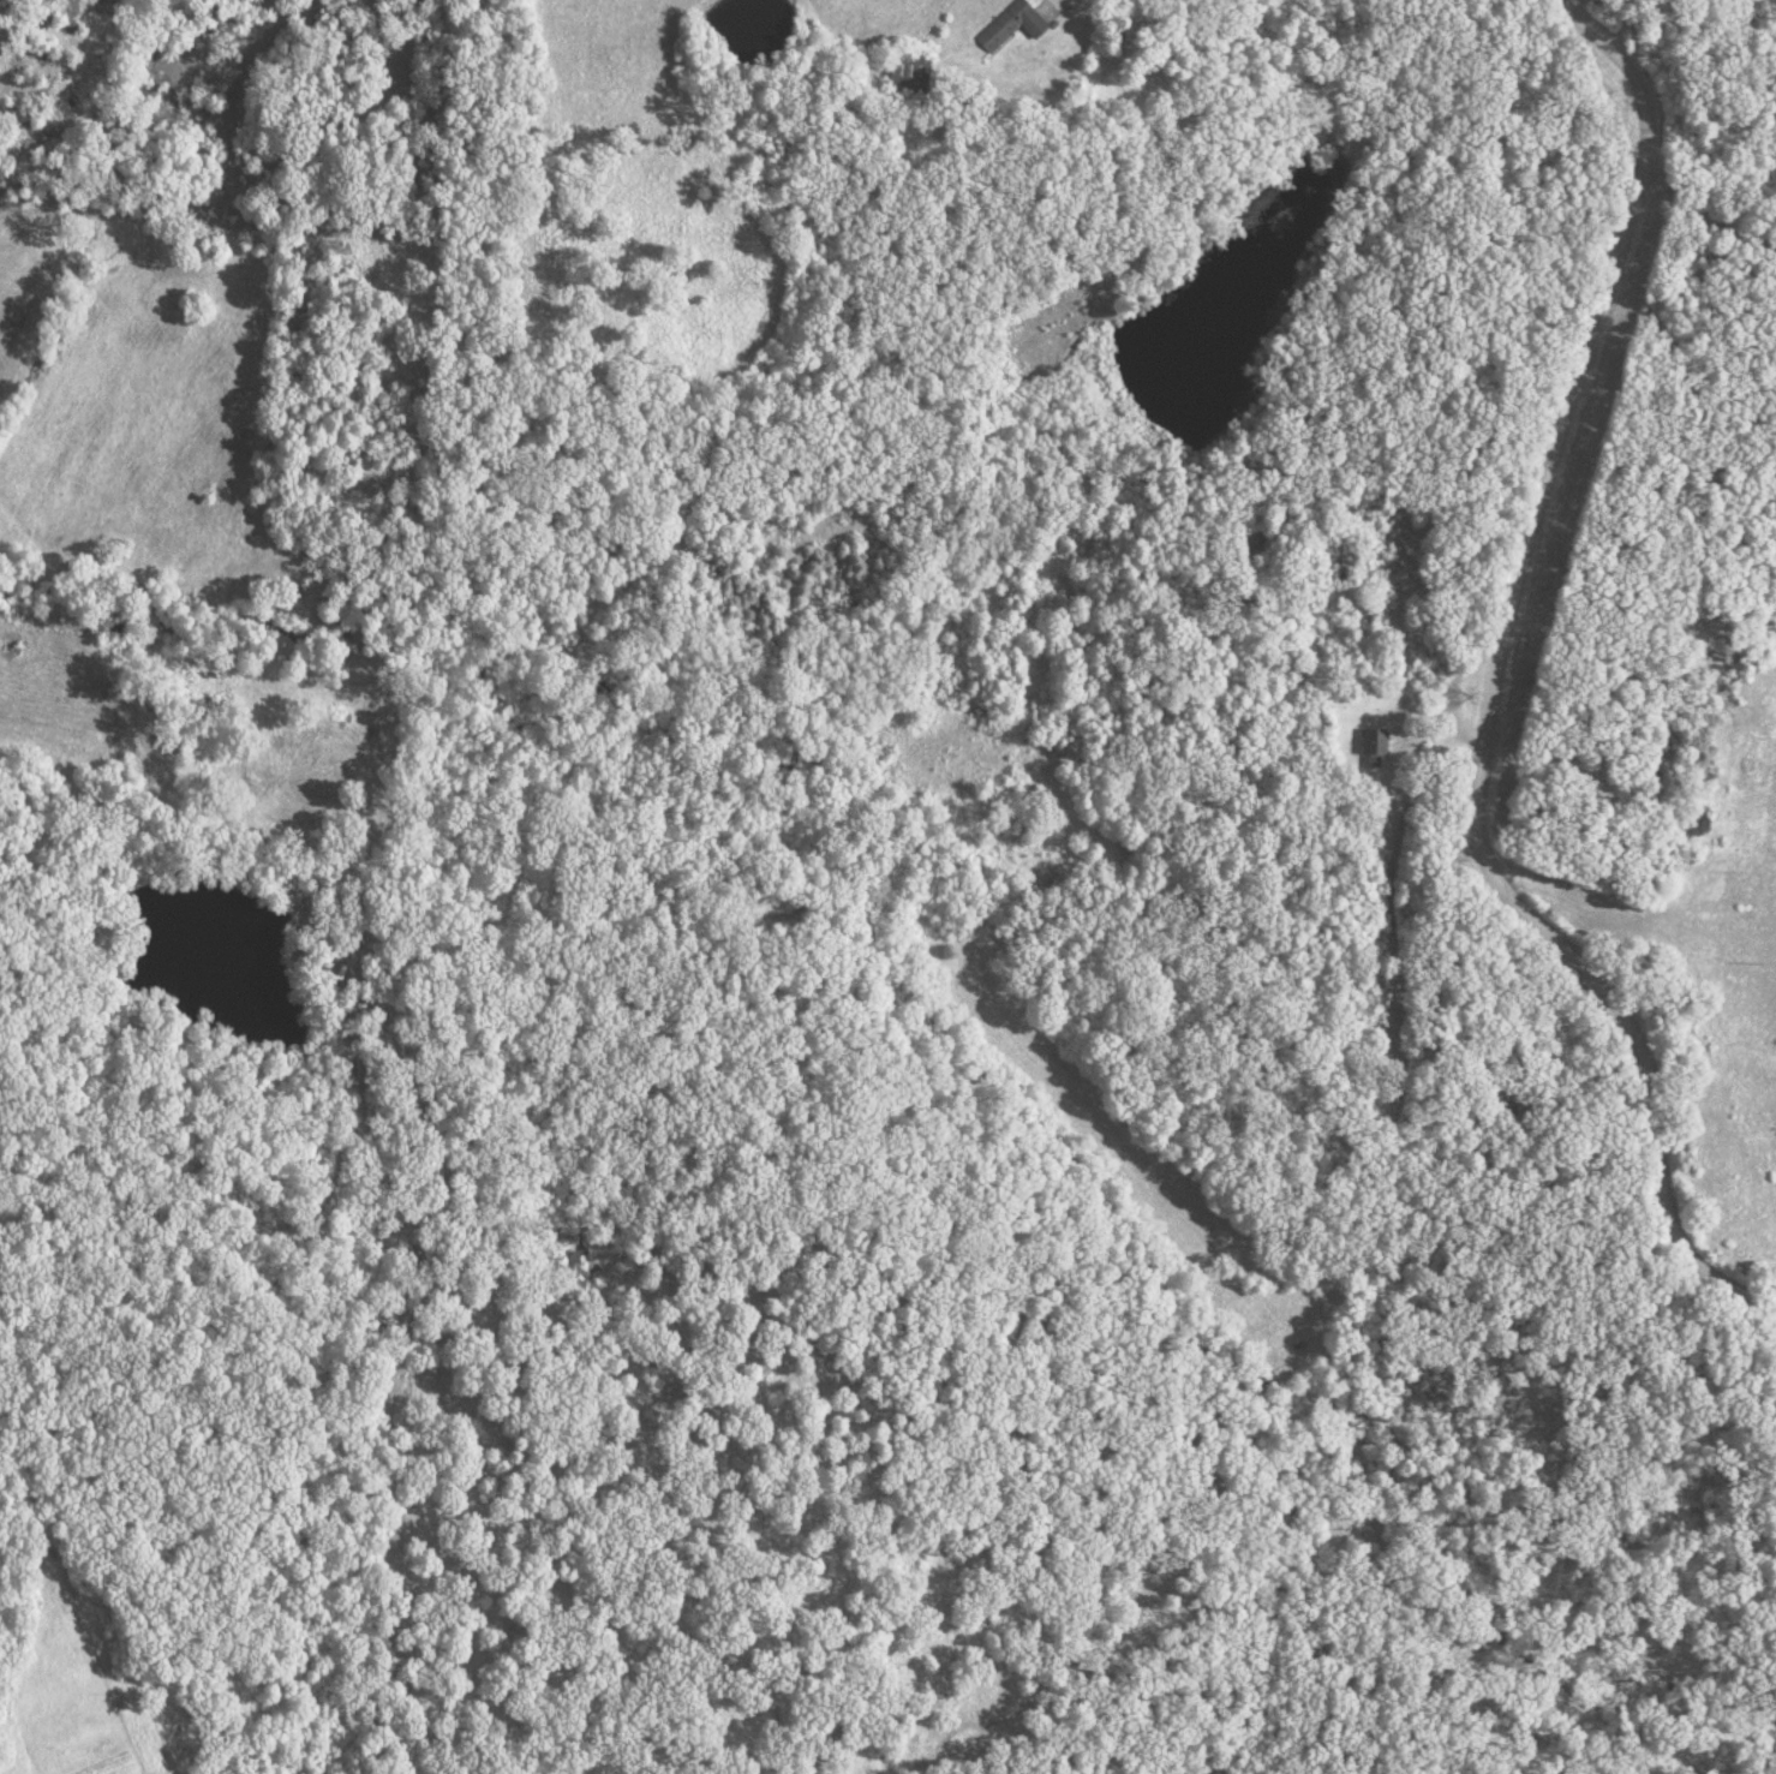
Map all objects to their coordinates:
building: (1010, 24)
building: (907, 74)
road: (1505, 682)
building: (1374, 745)
road: (1430, 778)

